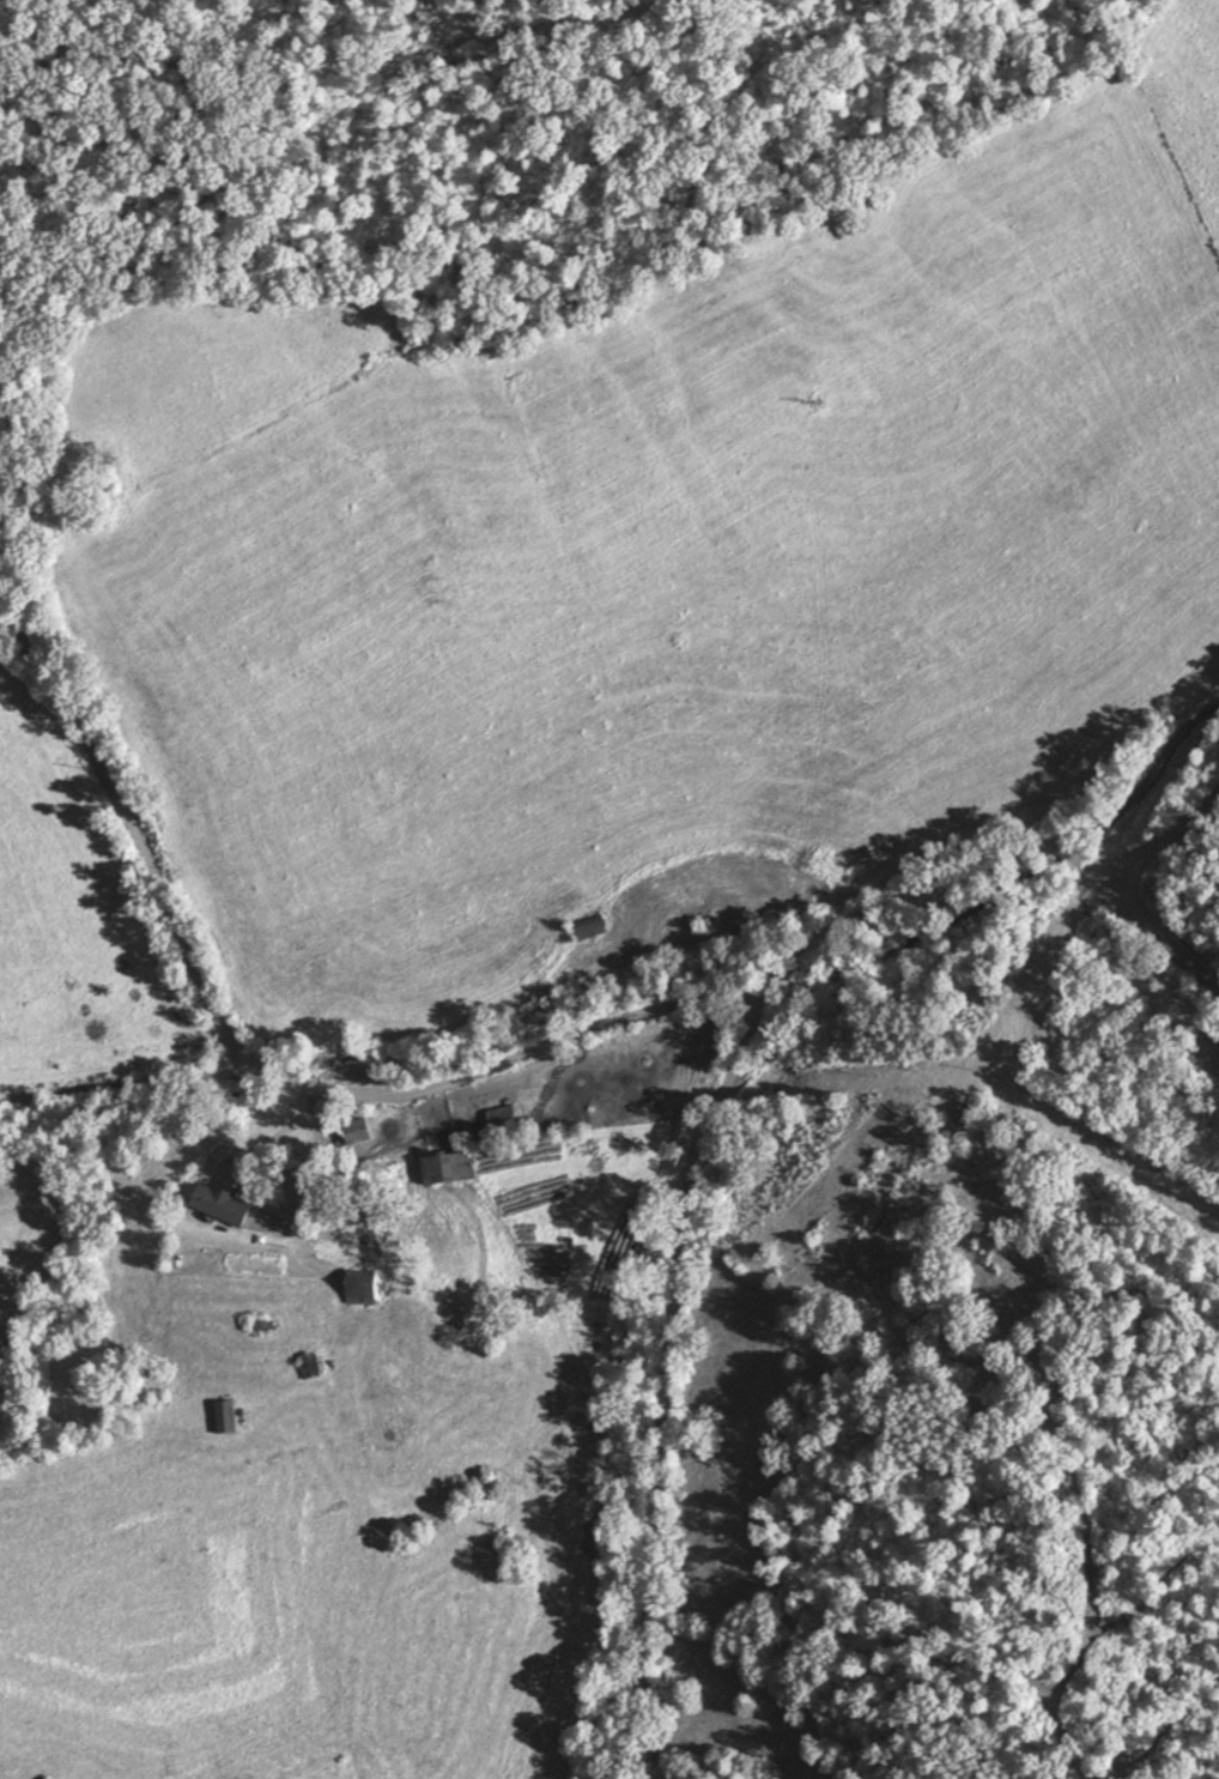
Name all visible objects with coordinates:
road: (134, 835)
road: (1171, 846)
building: (588, 927)
road: (1171, 934)
road: (387, 1099)
building: (964, 1113)
building: (502, 1114)
building: (357, 1131)
building: (449, 1167)
road: (703, 1190)
road: (307, 1192)
building: (224, 1203)
building: (364, 1284)
building: (401, 1308)
building: (225, 1416)

